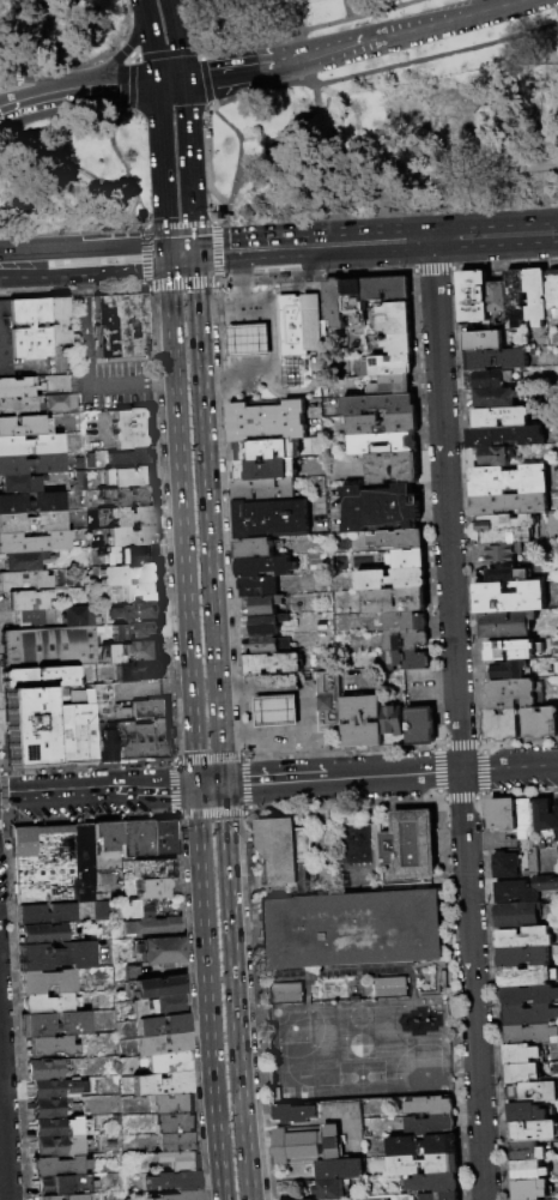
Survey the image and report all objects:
road: (171, 4)
road: (499, 7)
road: (344, 8)
road: (298, 16)
road: (204, 20)
road: (81, 22)
road: (119, 22)
road: (310, 28)
road: (25, 31)
road: (374, 40)
road: (150, 41)
road: (178, 43)
road: (202, 46)
road: (126, 50)
road: (213, 50)
road: (123, 52)
road: (165, 55)
road: (72, 64)
road: (10, 66)
road: (259, 68)
road: (384, 68)
road: (214, 76)
road: (22, 77)
road: (204, 77)
road: (41, 80)
traffic signals: (184, 80)
road: (170, 82)
road: (127, 84)
traffic signals: (156, 84)
road: (11, 86)
road: (119, 86)
road: (186, 98)
road: (41, 100)
road: (157, 100)
park: (272, 111)
road: (57, 123)
road: (4, 132)
road: (284, 133)
road: (205, 158)
road: (122, 164)
road: (236, 164)
road: (65, 165)
road: (189, 170)
road: (162, 185)
road: (492, 223)
road: (178, 224)
road: (141, 228)
road: (193, 239)
road: (366, 243)
road: (492, 248)
road: (248, 249)
road: (217, 252)
road: (180, 253)
traffic signals: (194, 253)
traffic signals: (166, 254)
road: (114, 257)
road: (146, 257)
road: (30, 261)
road: (182, 284)
road: (299, 290)
building: (383, 290)
building: (551, 293)
building: (535, 294)
building: (472, 295)
building: (496, 296)
building: (352, 297)
building: (515, 300)
building: (333, 303)
road: (235, 309)
building: (393, 319)
building: (56, 320)
road: (85, 322)
building: (120, 326)
building: (298, 326)
building: (28, 328)
building: (481, 339)
building: (5, 342)
building: (245, 344)
gas station: (245, 344)
building: (396, 345)
building: (496, 357)
building: (389, 367)
road: (269, 372)
building: (490, 376)
road: (159, 382)
road: (117, 384)
building: (14, 386)
building: (389, 386)
building: (496, 397)
building: (60, 400)
building: (20, 405)
building: (376, 406)
building: (498, 416)
building: (265, 422)
building: (23, 424)
building: (382, 426)
building: (132, 428)
building: (504, 436)
building: (30, 444)
building: (362, 446)
building: (265, 451)
road: (443, 453)
building: (496, 454)
building: (132, 457)
building: (90, 460)
building: (31, 464)
building: (263, 470)
building: (390, 470)
building: (128, 477)
building: (80, 480)
building: (508, 480)
building: (18, 483)
building: (261, 490)
building: (132, 496)
building: (31, 501)
building: (508, 503)
building: (380, 509)
building: (133, 515)
road: (208, 519)
building: (269, 519)
road: (181, 520)
building: (31, 521)
building: (507, 527)
building: (132, 536)
building: (396, 541)
building: (35, 542)
building: (254, 549)
building: (502, 551)
building: (129, 555)
building: (22, 560)
building: (405, 560)
building: (269, 568)
building: (501, 573)
building: (129, 574)
building: (24, 580)
building: (389, 580)
building: (256, 589)
building: (141, 593)
building: (509, 597)
building: (26, 599)
building: (389, 602)
building: (263, 607)
building: (137, 613)
building: (78, 616)
building: (30, 617)
building: (505, 622)
building: (402, 623)
building: (265, 626)
building: (404, 641)
building: (267, 646)
building: (48, 647)
building: (517, 649)
building: (144, 651)
building: (113, 653)
building: (404, 662)
building: (557, 664)
building: (269, 665)
building: (507, 669)
building: (140, 670)
building: (40, 676)
road: (310, 689)
building: (512, 693)
building: (103, 702)
building: (326, 702)
building: (150, 707)
building: (274, 710)
gas station: (290, 711)
building: (362, 722)
building: (540, 722)
building: (501, 724)
building: (30, 725)
building: (420, 725)
building: (392, 726)
building: (75, 734)
building: (141, 740)
building: (105, 746)
road: (509, 768)
road: (394, 776)
road: (289, 782)
road: (236, 784)
road: (210, 785)
traffic signals: (224, 785)
traffic signals: (196, 786)
road: (98, 791)
road: (224, 803)
building: (502, 814)
building: (346, 816)
building: (556, 818)
building: (522, 819)
building: (542, 819)
building: (163, 837)
building: (107, 838)
building: (135, 838)
building: (407, 845)
building: (281, 851)
building: (83, 855)
building: (539, 862)
building: (42, 864)
building: (503, 864)
building: (153, 868)
building: (151, 887)
building: (523, 888)
building: (83, 894)
building: (135, 907)
building: (101, 910)
building: (44, 913)
building: (515, 915)
building: (151, 925)
building: (348, 929)
building: (42, 933)
road: (469, 933)
building: (522, 937)
building: (160, 949)
building: (54, 955)
building: (521, 955)
building: (133, 972)
building: (526, 976)
building: (47, 981)
building: (158, 987)
building: (389, 987)
building: (285, 991)
road: (206, 993)
building: (527, 995)
building: (48, 1003)
building: (159, 1006)
road: (235, 1011)
building: (527, 1014)
building: (54, 1024)
building: (162, 1024)
building: (529, 1033)
building: (163, 1043)
building: (50, 1044)
building: (523, 1054)
building: (166, 1062)
building: (43, 1068)
building: (521, 1073)
building: (160, 1083)
building: (48, 1087)
building: (515, 1093)
building: (169, 1103)
building: (427, 1105)
building: (48, 1106)
building: (523, 1111)
building: (291, 1114)
building: (171, 1122)
building: (427, 1124)
building: (59, 1126)
building: (533, 1130)
building: (175, 1141)
building: (305, 1144)
building: (60, 1145)
building: (420, 1145)
building: (526, 1151)
building: (177, 1159)
road: (1, 1160)
building: (421, 1164)
building: (57, 1165)
building: (336, 1169)
building: (527, 1170)
building: (174, 1180)
building: (432, 1182)
building: (63, 1183)
building: (329, 1188)
building: (528, 1189)
building: (66, 1195)
building: (178, 1195)
building: (438, 1195)
building: (310, 1199)

